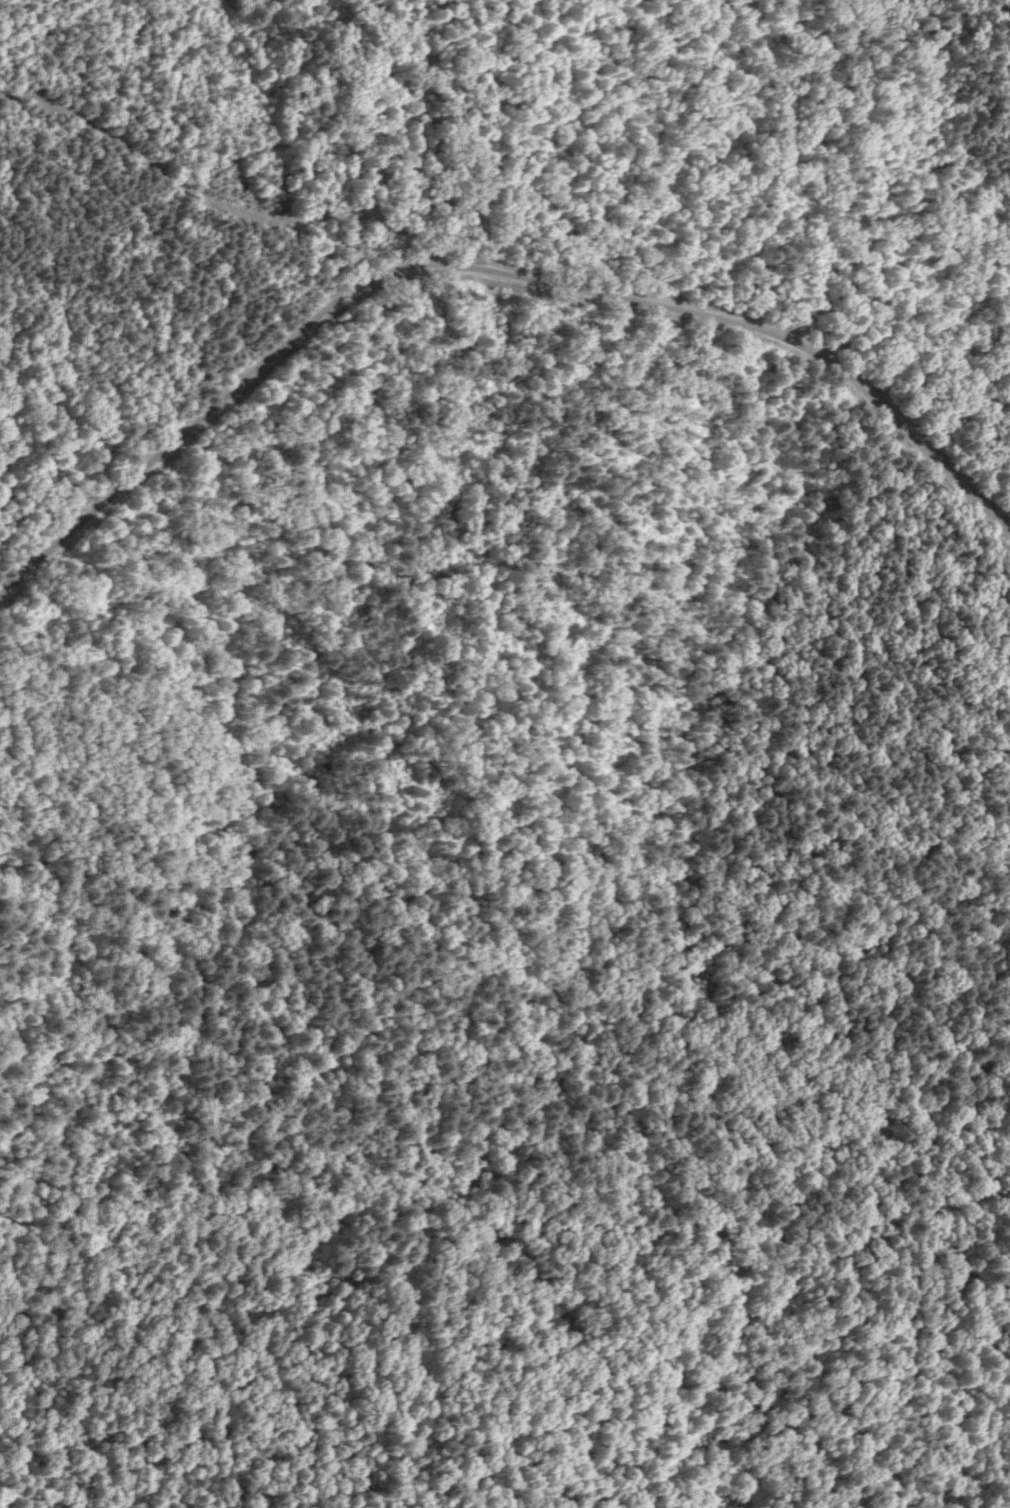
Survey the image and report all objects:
road: (487, 271)

